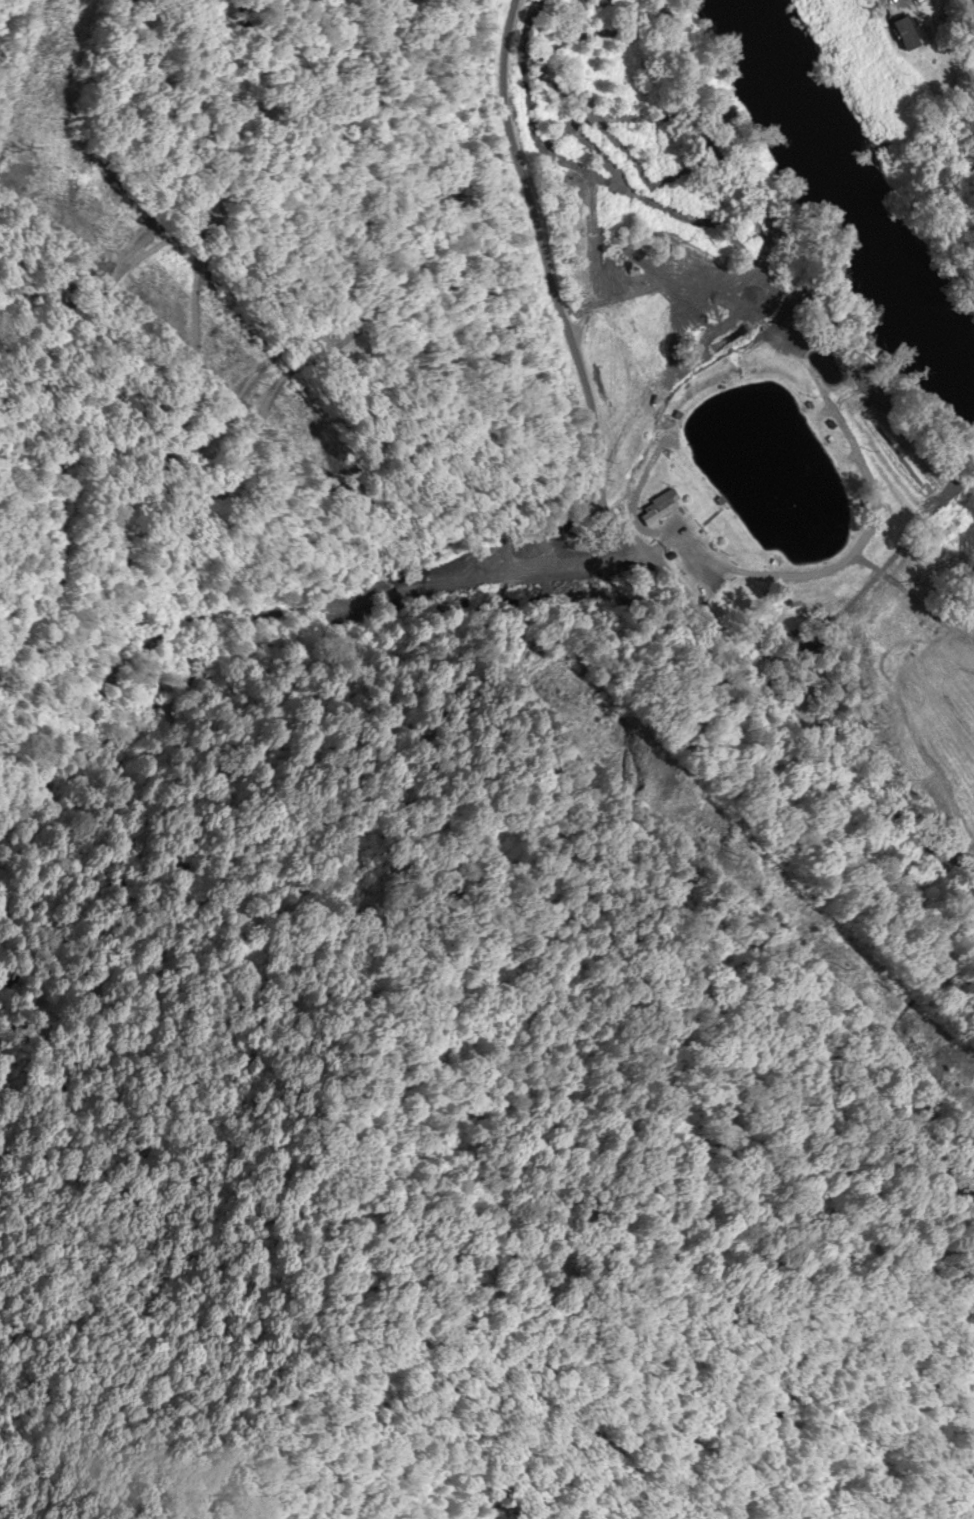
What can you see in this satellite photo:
building: (909, 34)
river: (850, 177)
road: (639, 503)
building: (661, 512)

